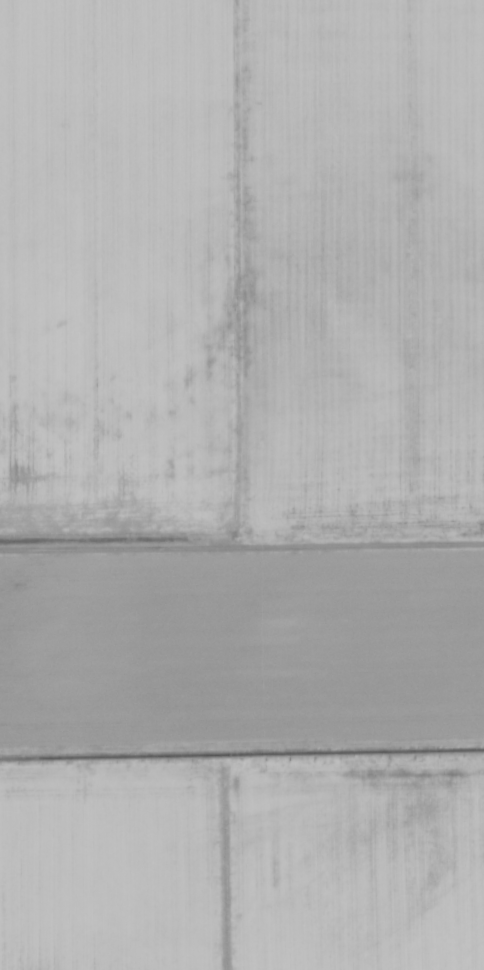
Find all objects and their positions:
road: (242, 545)

